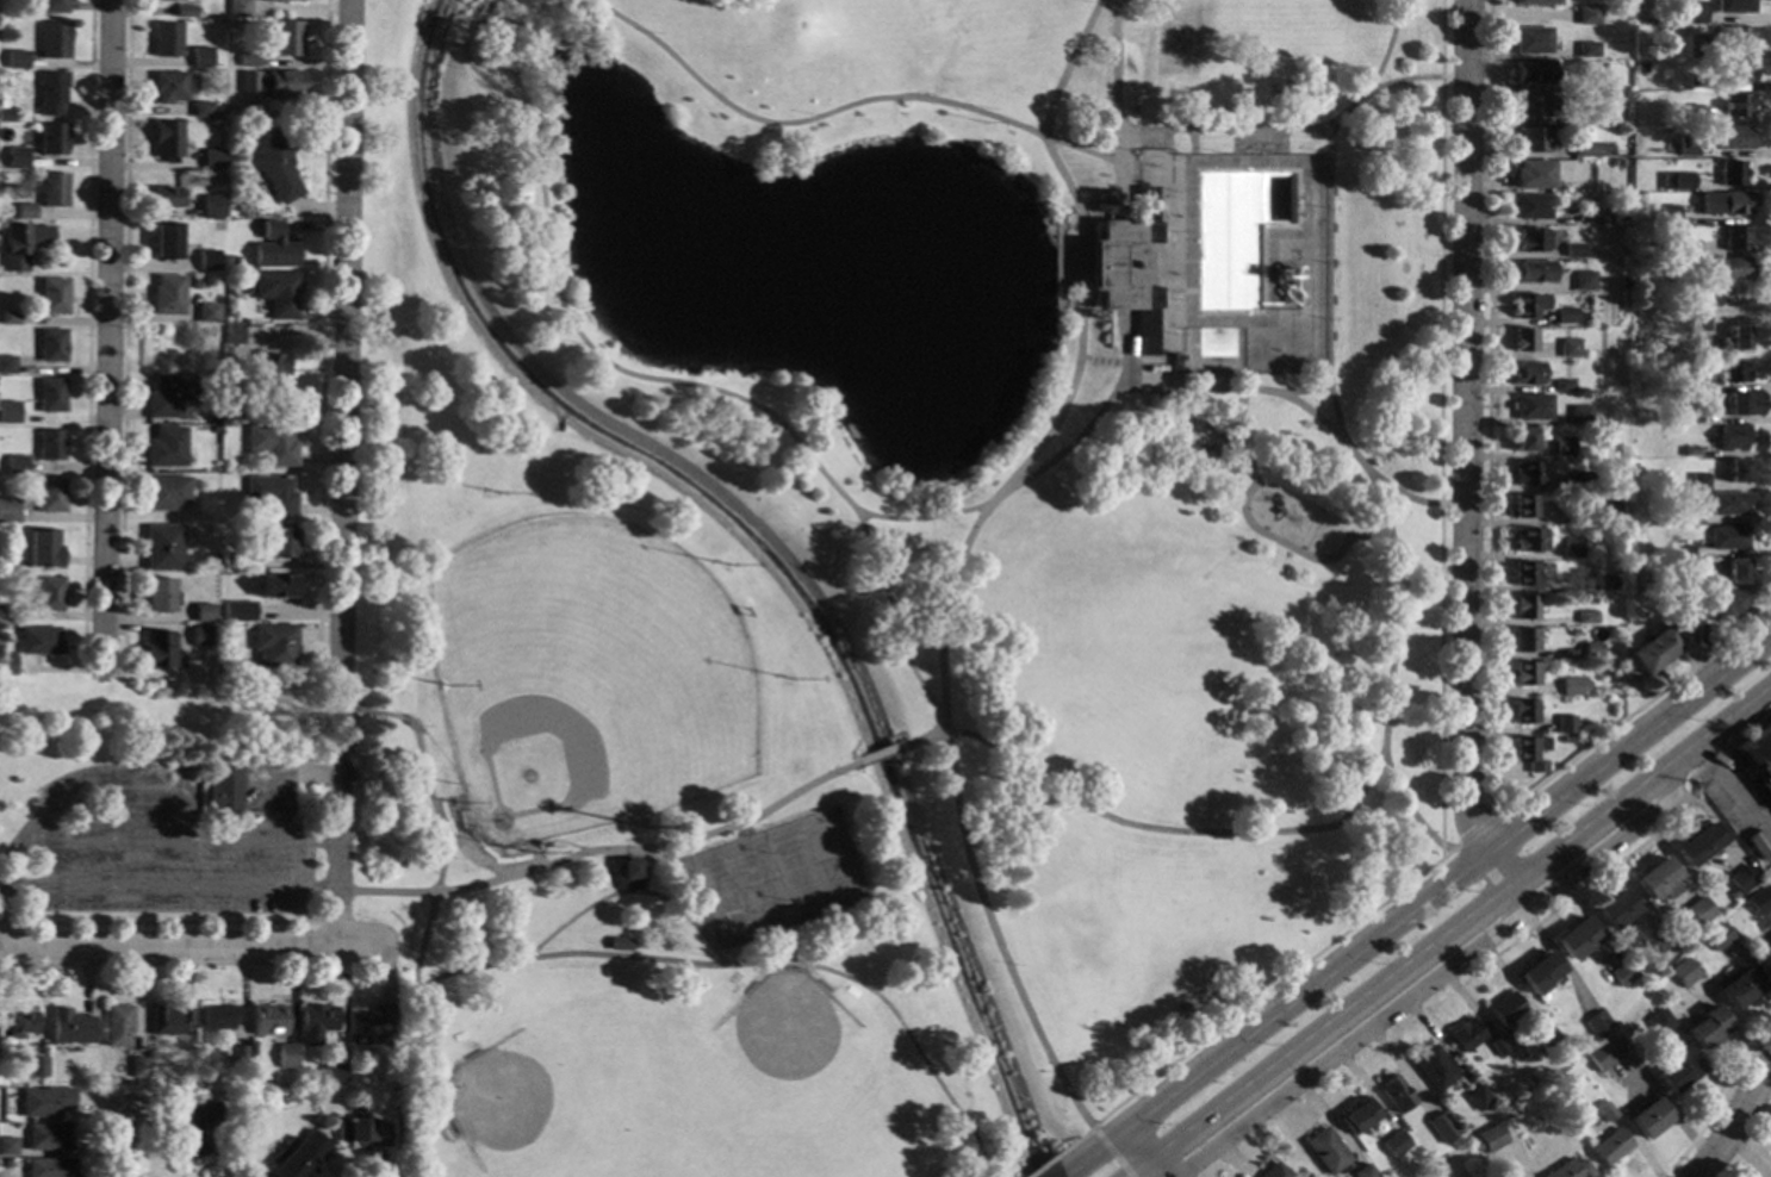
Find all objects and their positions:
building: (157, 0)
building: (282, 0)
building: (274, 1)
building: (1536, 2)
building: (54, 6)
building: (1732, 6)
building: (238, 7)
building: (1647, 10)
building: (185, 11)
building: (1692, 12)
building: (1587, 14)
road: (480, 17)
building: (1646, 36)
building: (1734, 37)
building: (286, 38)
building: (166, 39)
building: (52, 41)
building: (1531, 41)
building: (1696, 44)
road: (466, 45)
road: (1387, 45)
park: (1173, 46)
building: (1587, 49)
building: (200, 57)
building: (17, 60)
building: (247, 60)
building: (1736, 70)
building: (1534, 71)
building: (1696, 81)
building: (271, 82)
building: (1590, 85)
building: (168, 86)
road: (1378, 86)
building: (52, 92)
building: (1735, 104)
building: (2, 105)
building: (215, 106)
building: (1533, 106)
road: (840, 107)
road: (1114, 108)
building: (201, 110)
building: (1688, 113)
building: (1593, 114)
road: (1222, 129)
building: (1732, 137)
building: (52, 138)
building: (193, 139)
building: (1533, 139)
building: (167, 141)
building: (1685, 145)
building: (1591, 150)
building: (17, 157)
building: (211, 158)
building: (278, 163)
building: (1617, 163)
building: (1729, 173)
building: (1533, 174)
building: (1674, 181)
building: (1639, 185)
building: (52, 189)
building: (162, 198)
building: (1725, 203)
building: (210, 205)
building: (1531, 207)
building: (24, 211)
building: (1666, 213)
building: (1596, 217)
building: (1734, 238)
building: (163, 241)
building: (1530, 241)
building: (20, 243)
building: (271, 245)
building: (1688, 248)
building: (1574, 250)
road: (1292, 259)
building: (205, 260)
road: (1062, 263)
building: (1125, 267)
building: (1733, 268)
building: (1534, 272)
building: (1583, 281)
building: (192, 284)
road: (1329, 284)
building: (1621, 284)
building: (275, 292)
building: (166, 294)
building: (52, 295)
building: (1708, 297)
building: (1528, 305)
building: (204, 312)
building: (228, 313)
road: (124, 315)
building: (1567, 316)
building: (8, 318)
road: (322, 318)
building: (1695, 320)
building: (231, 335)
road: (87, 336)
road: (106, 337)
road: (344, 337)
building: (1734, 338)
building: (1523, 340)
building: (50, 344)
building: (1570, 348)
building: (224, 356)
building: (6, 365)
building: (267, 369)
building: (1733, 370)
road: (1075, 373)
road: (1162, 373)
building: (1528, 373)
building: (1685, 381)
road: (700, 384)
building: (1564, 385)
road: (1307, 388)
building: (49, 396)
building: (167, 396)
road: (1295, 400)
building: (1735, 404)
building: (1533, 406)
building: (1580, 415)
building: (1688, 415)
building: (6, 417)
building: (1193, 432)
building: (1732, 436)
building: (1525, 440)
building: (271, 444)
building: (49, 446)
building: (163, 447)
building: (1564, 447)
building: (1690, 452)
road: (1465, 462)
building: (14, 465)
road: (1039, 468)
building: (1736, 471)
building: (1527, 473)
building: (1582, 481)
building: (1684, 481)
building: (1698, 481)
building: (163, 493)
building: (49, 494)
building: (271, 494)
building: (1727, 503)
building: (1523, 506)
building: (7, 510)
building: (1608, 511)
building: (1689, 516)
road: (1255, 528)
building: (1727, 537)
building: (1527, 540)
building: (278, 541)
building: (161, 547)
building: (1571, 547)
building: (42, 548)
building: (1686, 549)
building: (242, 562)
building: (1666, 565)
building: (1735, 571)
park: (1201, 573)
building: (1523, 573)
park: (839, 575)
road: (1489, 577)
building: (1607, 583)
building: (276, 586)
building: (49, 593)
building: (155, 593)
building: (1726, 604)
building: (1525, 606)
building: (204, 612)
building: (236, 612)
building: (7, 614)
building: (1586, 617)
building: (1574, 633)
building: (1705, 634)
building: (198, 635)
building: (38, 641)
building: (1523, 641)
building: (272, 643)
building: (1592, 649)
building: (1654, 649)
building: (157, 650)
road: (1441, 660)
building: (6, 662)
road: (1391, 670)
park: (589, 673)
building: (1524, 674)
building: (1573, 685)
building: (1523, 711)
building: (1565, 724)
road: (925, 736)
building: (1567, 740)
road: (881, 752)
building: (1530, 752)
building: (1758, 755)
road: (422, 759)
road: (329, 771)
road: (1362, 785)
road: (95, 789)
building: (223, 790)
road: (1729, 790)
road: (1166, 829)
road: (1478, 829)
road: (1642, 842)
building: (1697, 843)
building: (1758, 845)
road: (335, 848)
road: (603, 849)
road: (1446, 854)
parking lot: (174, 864)
building: (627, 874)
park: (778, 876)
building: (1740, 878)
building: (1657, 880)
road: (644, 883)
road: (1429, 893)
building: (1729, 893)
road: (695, 896)
building: (1759, 899)
road: (586, 908)
building: (1615, 909)
building: (1697, 910)
road: (335, 918)
road: (690, 920)
road: (167, 923)
road: (1449, 930)
building: (1716, 936)
road: (995, 938)
building: (1576, 938)
building: (1659, 940)
building: (619, 944)
road: (185, 948)
building: (1764, 958)
road: (757, 963)
building: (1682, 971)
building: (1539, 972)
building: (1621, 973)
road: (1431, 979)
building: (1738, 988)
building: (1504, 1009)
building: (217, 1016)
building: (168, 1020)
building: (267, 1020)
building: (20, 1022)
building: (316, 1022)
building: (1658, 1022)
building: (1595, 1023)
building: (116, 1026)
building: (369, 1026)
building: (1705, 1026)
building: (69, 1027)
road: (421, 1032)
building: (1465, 1035)
building: (1546, 1040)
park: (789, 1044)
building: (1497, 1046)
building: (1601, 1053)
building: (238, 1055)
building: (286, 1055)
building: (37, 1066)
building: (137, 1067)
building: (1433, 1069)
building: (1676, 1071)
building: (334, 1072)
building: (384, 1077)
building: (188, 1078)
building: (1394, 1094)
park: (546, 1095)
building: (1477, 1097)
road: (1717, 1097)
building: (45, 1102)
building: (1604, 1110)
building: (1357, 1115)
building: (1647, 1119)
road: (1732, 1120)
building: (1440, 1127)
building: (201, 1129)
building: (362, 1132)
building: (48, 1136)
building: (1489, 1138)
building: (1393, 1144)
building: (7, 1146)
road: (124, 1147)
building: (1609, 1147)
road: (1144, 1151)
building: (1325, 1151)
road: (1111, 1153)
building: (299, 1156)
road: (1050, 1158)
building: (5, 1164)
building: (50, 1167)
road: (1077, 1167)
building: (1273, 1170)
building: (1570, 1170)
building: (1362, 1171)

